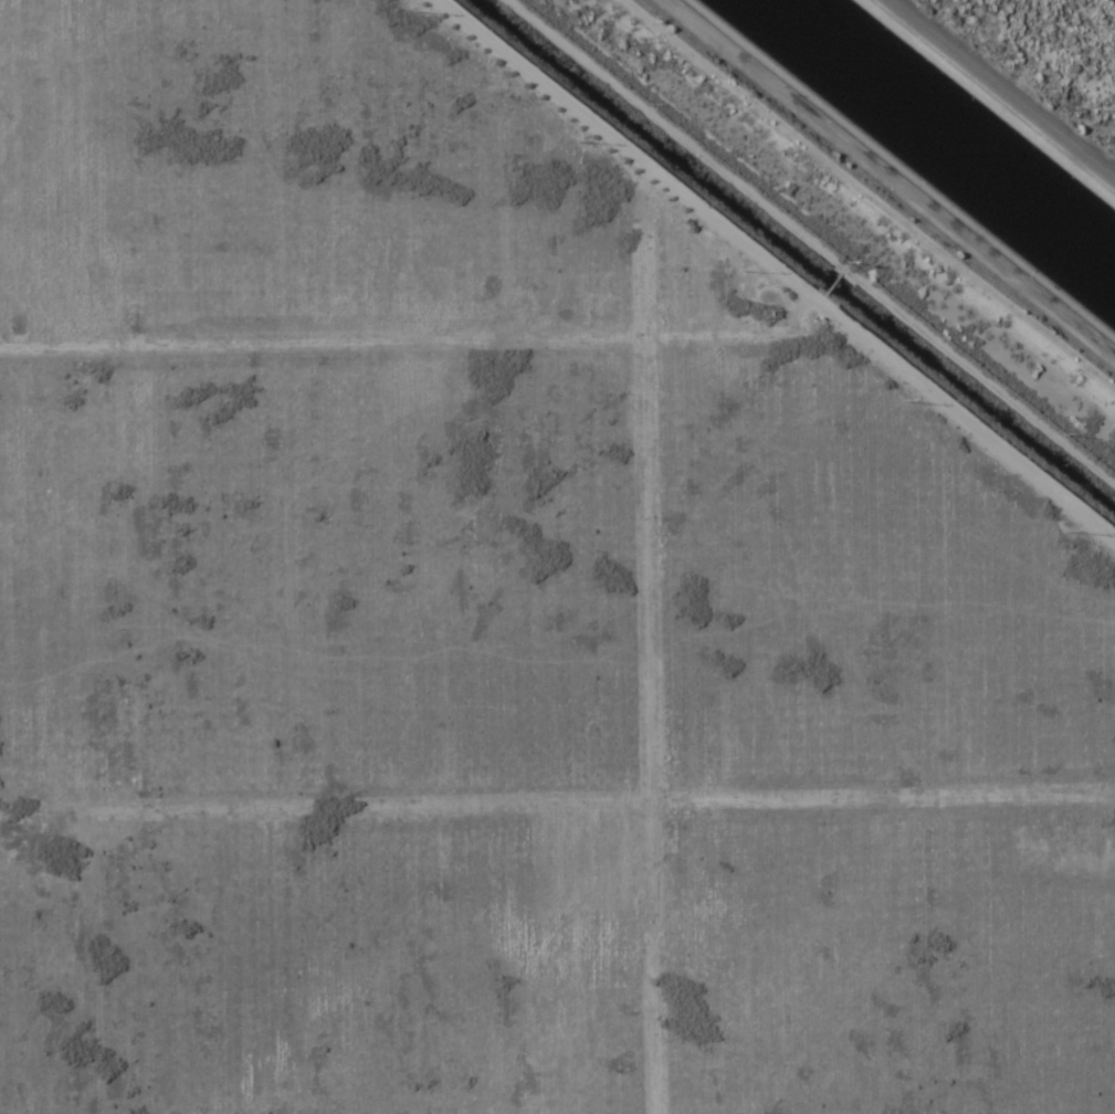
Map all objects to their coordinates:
road: (893, 176)

